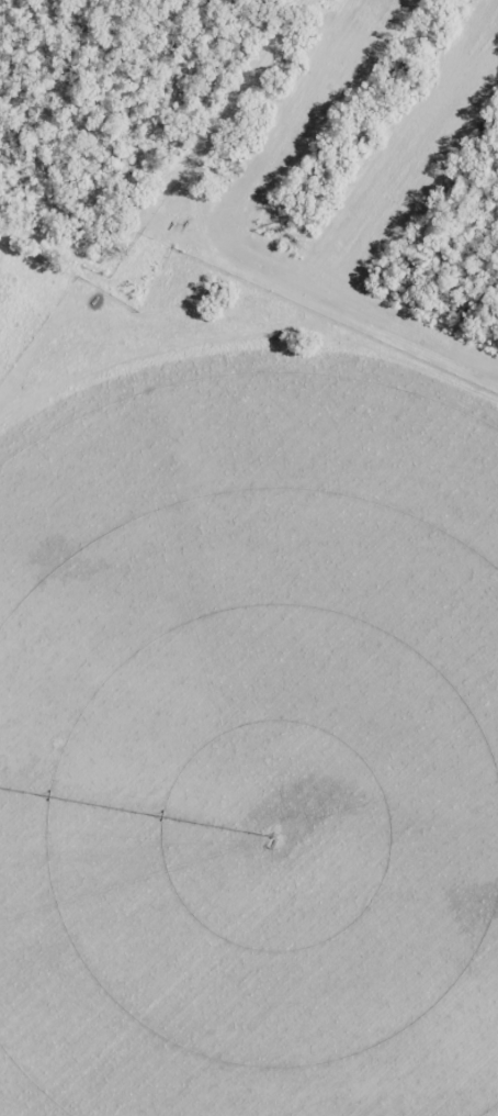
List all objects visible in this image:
road: (152, 197)

